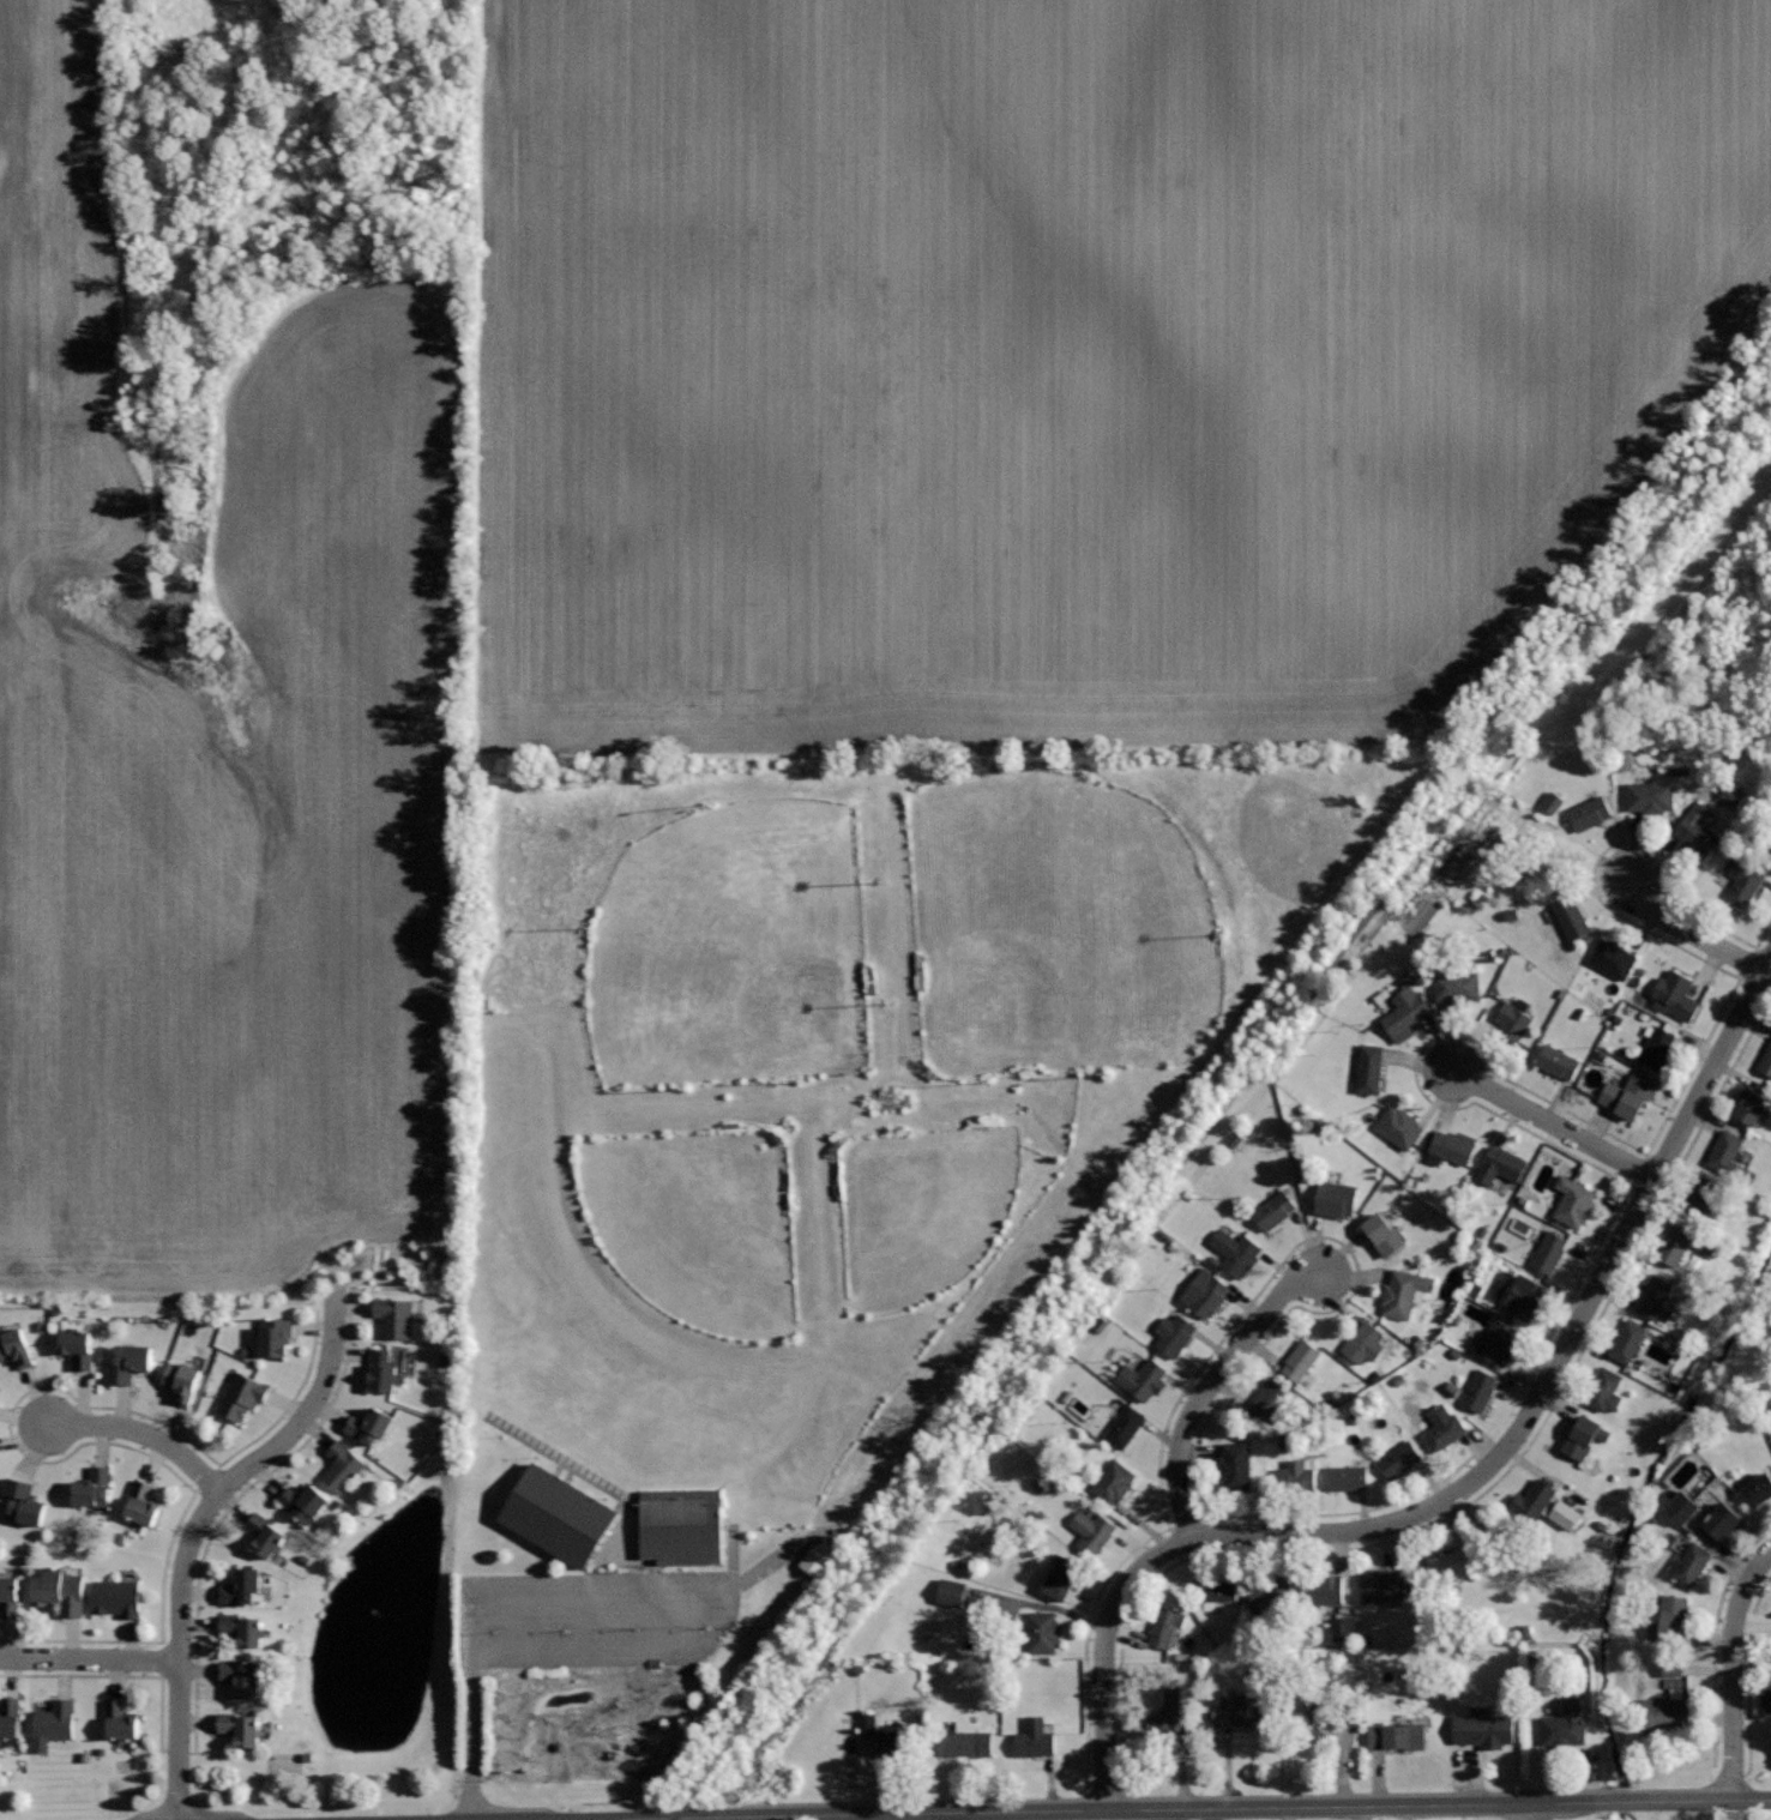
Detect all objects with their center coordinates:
building: (1736, 795)
building: (1650, 796)
building: (1556, 803)
building: (1589, 813)
building: (1697, 831)
building: (1767, 850)
building: (1550, 857)
building: (1742, 884)
building: (1573, 917)
park: (1056, 924)
road: (1689, 932)
park: (731, 947)
building: (1612, 958)
building: (1456, 987)
building: (1675, 995)
building: (1405, 1008)
building: (1512, 1020)
building: (1656, 1048)
building: (1556, 1061)
building: (1766, 1061)
building: (1368, 1068)
building: (1626, 1095)
building: (1749, 1105)
road: (1553, 1123)
building: (1398, 1126)
building: (1453, 1144)
park: (826, 1153)
building: (1728, 1155)
building: (1499, 1164)
building: (1335, 1198)
building: (1573, 1200)
building: (1707, 1201)
park: (921, 1210)
building: (1273, 1210)
park: (698, 1223)
building: (1381, 1233)
building: (1675, 1243)
building: (1548, 1251)
building: (1236, 1252)
road: (805, 1264)
building: (1404, 1291)
building: (1204, 1295)
building: (1523, 1296)
building: (1653, 1296)
building: (396, 1316)
building: (1174, 1334)
building: (275, 1336)
building: (1495, 1340)
building: (1628, 1340)
building: (1363, 1342)
building: (77, 1346)
building: (16, 1348)
building: (1300, 1360)
building: (128, 1363)
building: (381, 1369)
building: (1143, 1378)
building: (182, 1380)
road: (1210, 1387)
building: (1478, 1390)
building: (1604, 1390)
building: (241, 1394)
building: (1265, 1400)
building: (368, 1424)
building: (1125, 1426)
building: (1439, 1427)
road: (143, 1436)
building: (1585, 1436)
building: (1398, 1458)
building: (342, 1465)
building: (1235, 1465)
building: (1294, 1476)
building: (1345, 1477)
road: (588, 1478)
road: (1470, 1479)
building: (1112, 1481)
building: (92, 1487)
building: (1758, 1489)
building: (1535, 1500)
building: (24, 1501)
building: (303, 1501)
building: (141, 1503)
building: (1687, 1508)
building: (558, 1514)
building: (1571, 1515)
building: (1721, 1520)
building: (682, 1525)
building: (1091, 1531)
road: (194, 1532)
building: (265, 1533)
building: (1687, 1557)
building: (1452, 1559)
building: (821, 1561)
building: (1060, 1577)
road: (615, 1584)
building: (1319, 1585)
building: (1384, 1585)
building: (241, 1586)
building: (1215, 1586)
building: (60, 1591)
building: (954, 1593)
building: (10, 1596)
building: (116, 1597)
building: (1269, 1597)
parking lot: (607, 1617)
building: (1669, 1619)
building: (1168, 1623)
building: (242, 1628)
building: (1041, 1629)
building: (1348, 1629)
road: (477, 1643)
road: (90, 1658)
building: (1679, 1669)
road: (1734, 1671)
building: (240, 1677)
building: (1765, 1703)
building: (1240, 1707)
building: (1169, 1712)
building: (1663, 1714)
building: (10, 1717)
building: (120, 1720)
building: (1317, 1722)
building: (1565, 1723)
building: (54, 1724)
building: (871, 1724)
building: (240, 1726)
building: (1482, 1728)
road: (478, 1734)
building: (1396, 1735)
building: (1034, 1738)
building: (896, 1743)
building: (959, 1743)
road: (1222, 1809)
road: (1531, 1812)
road: (885, 1818)

